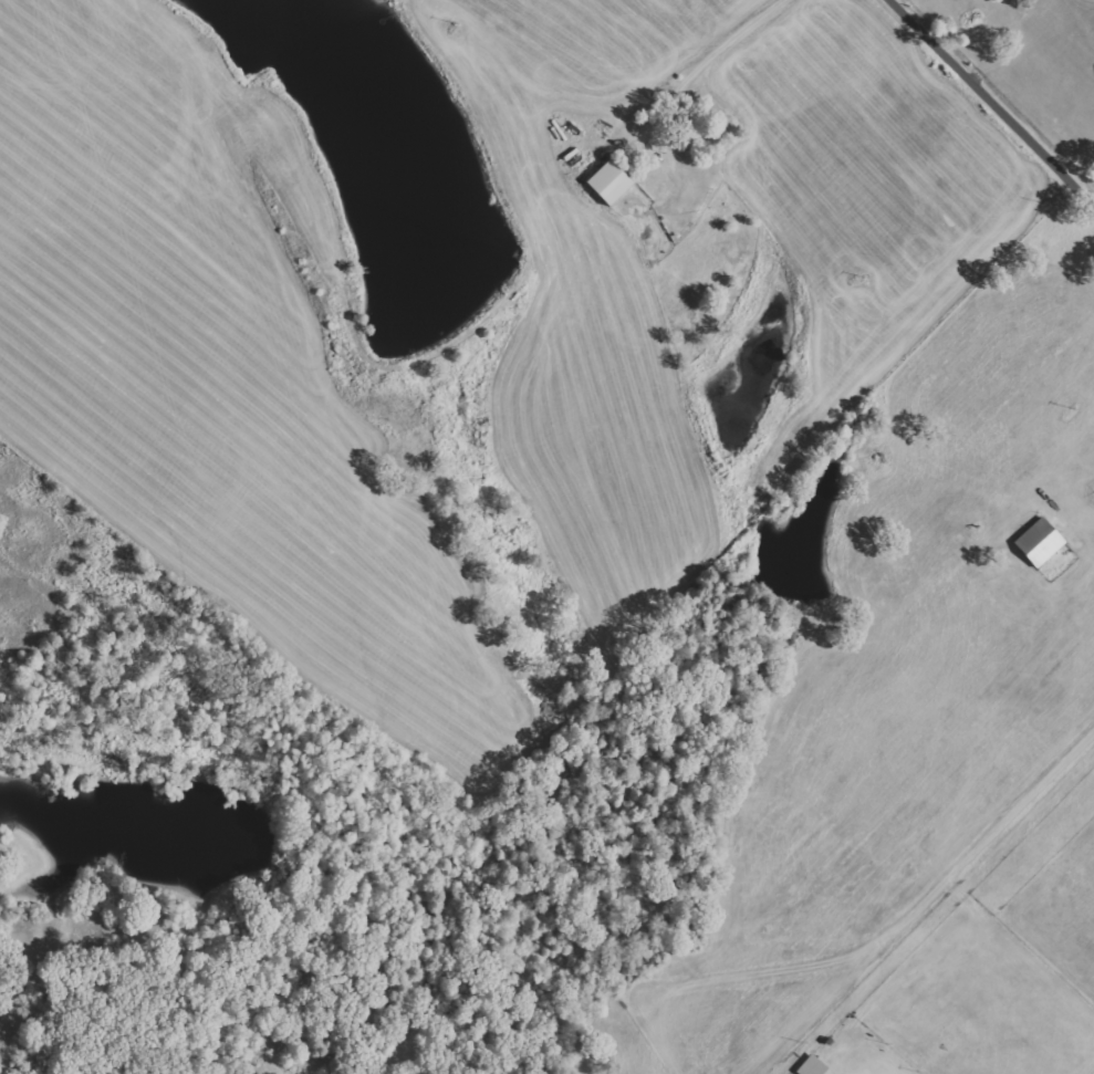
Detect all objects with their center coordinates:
road: (979, 117)
building: (609, 181)
building: (1040, 542)
road: (968, 869)
building: (813, 1066)

